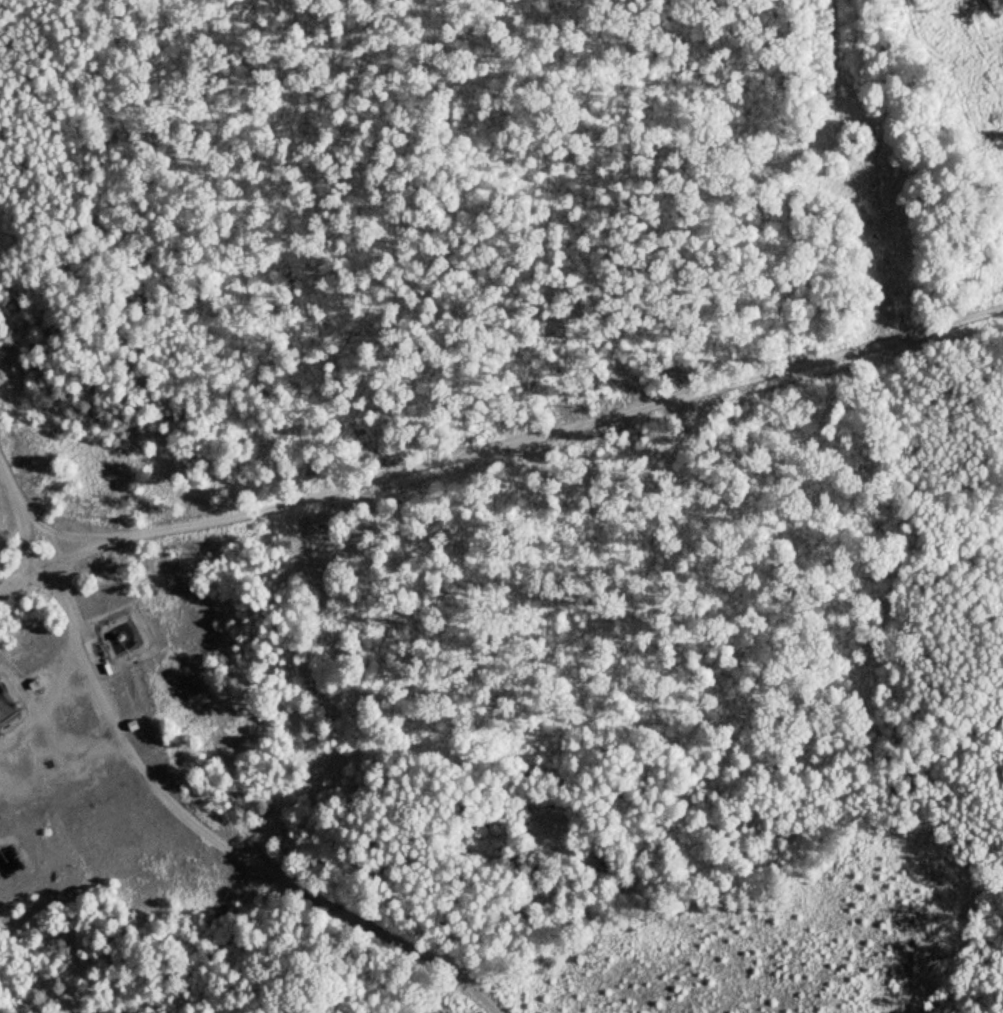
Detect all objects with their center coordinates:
road: (531, 442)
road: (25, 512)
road: (28, 568)
road: (210, 845)
building: (4, 863)

